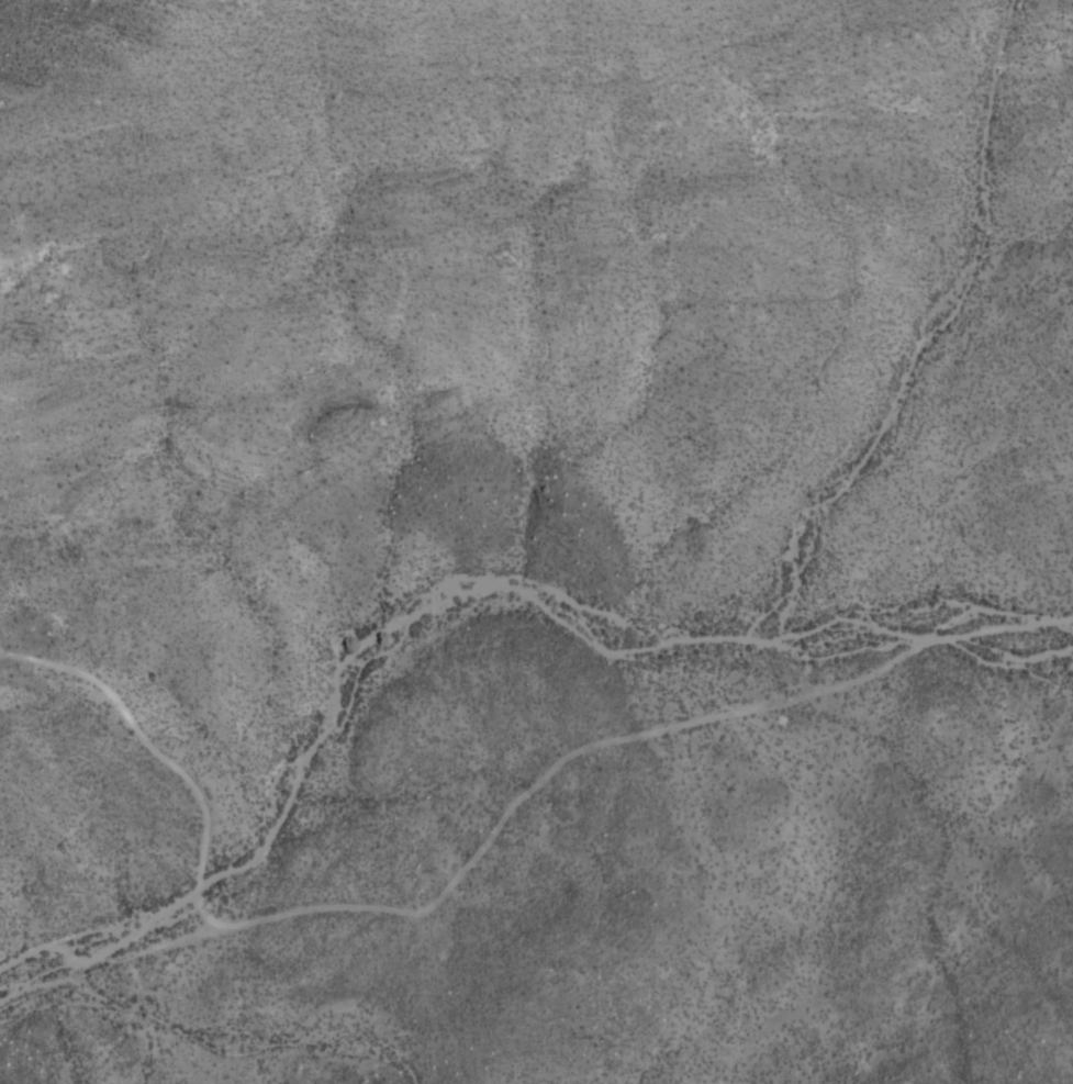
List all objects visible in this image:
road: (493, 889)

